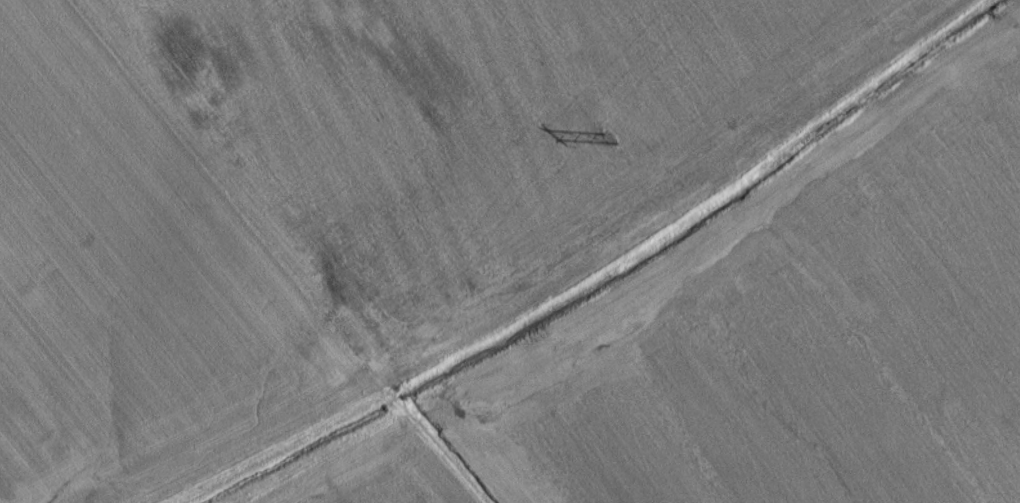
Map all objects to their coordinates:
power tower: (605, 145)

